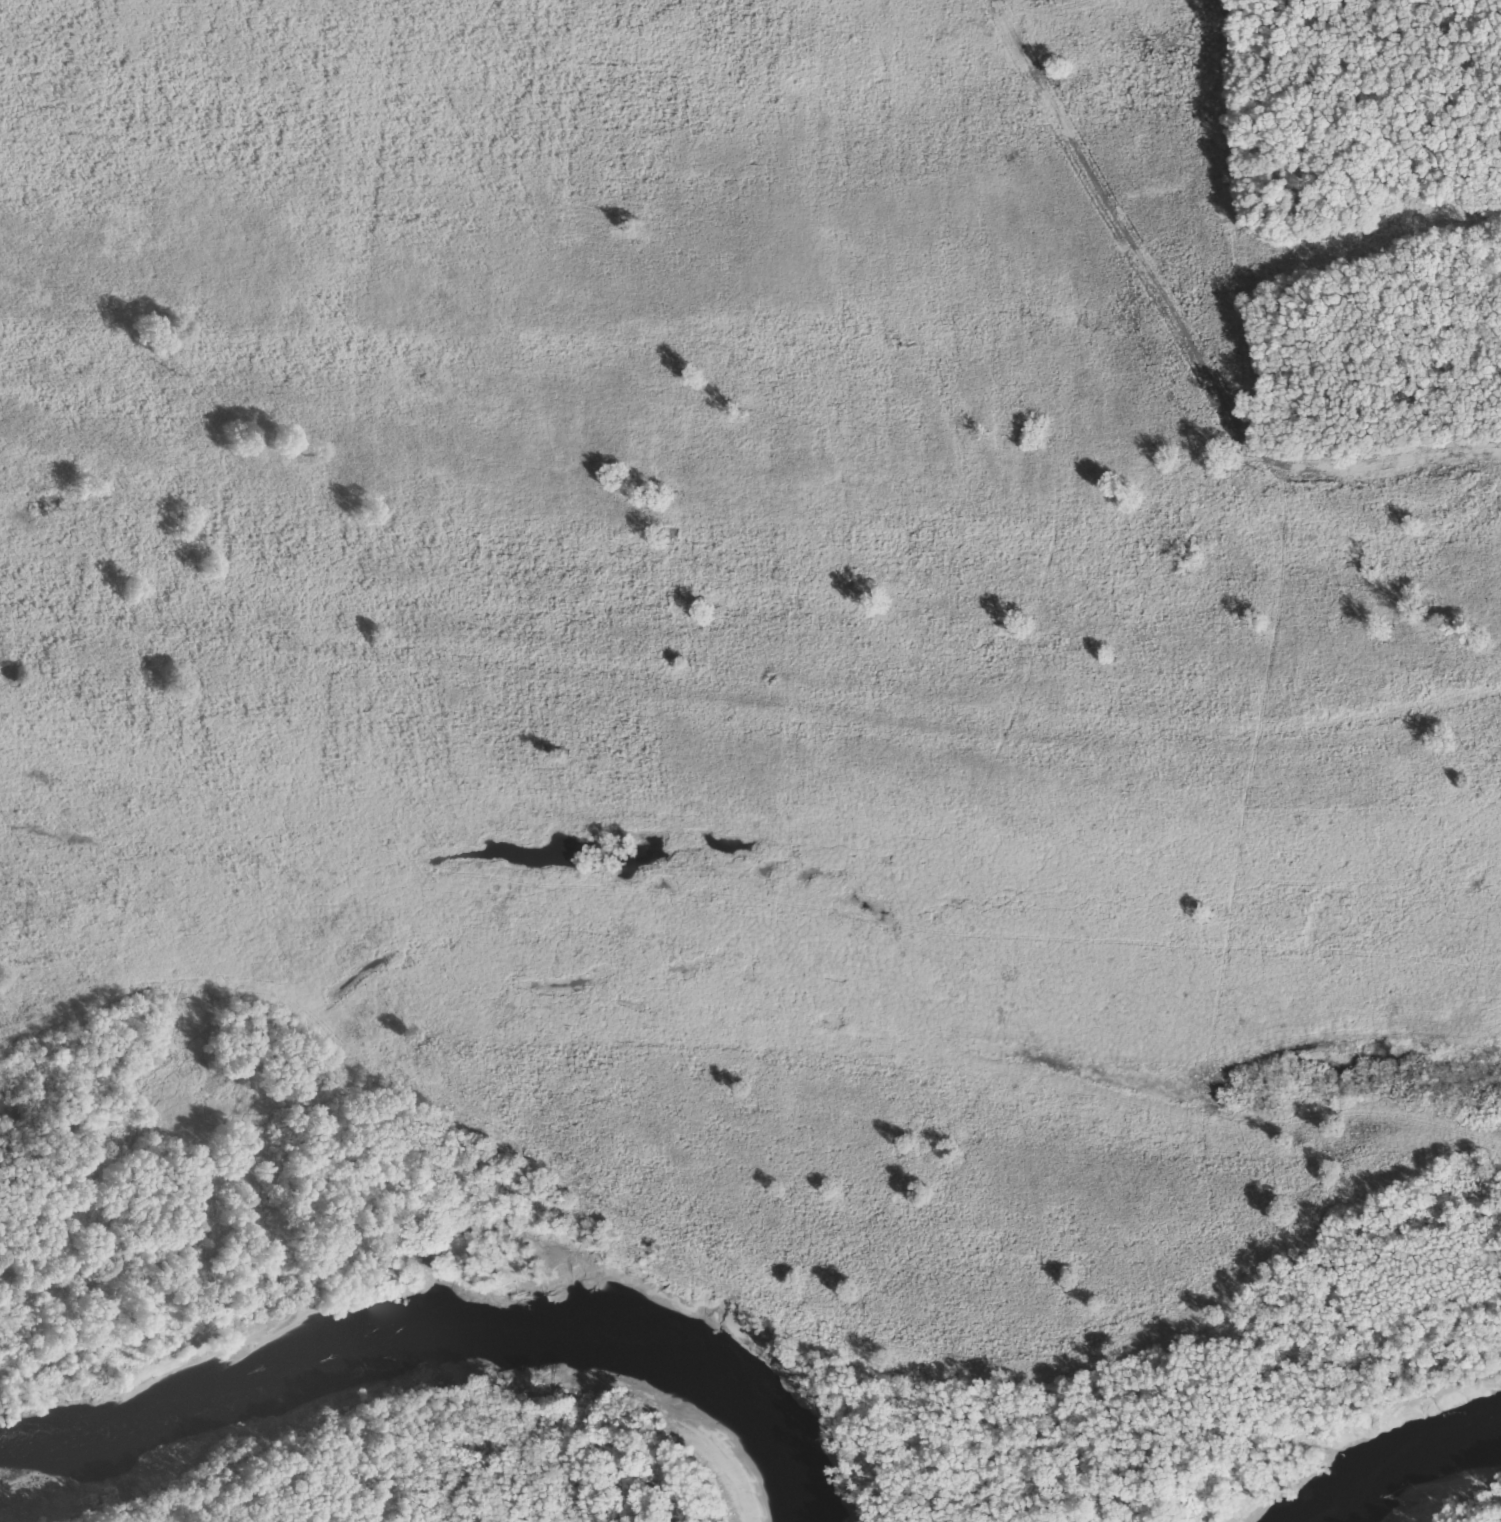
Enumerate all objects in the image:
river: (416, 1309)
river: (1386, 1475)
road: (181, 1480)

